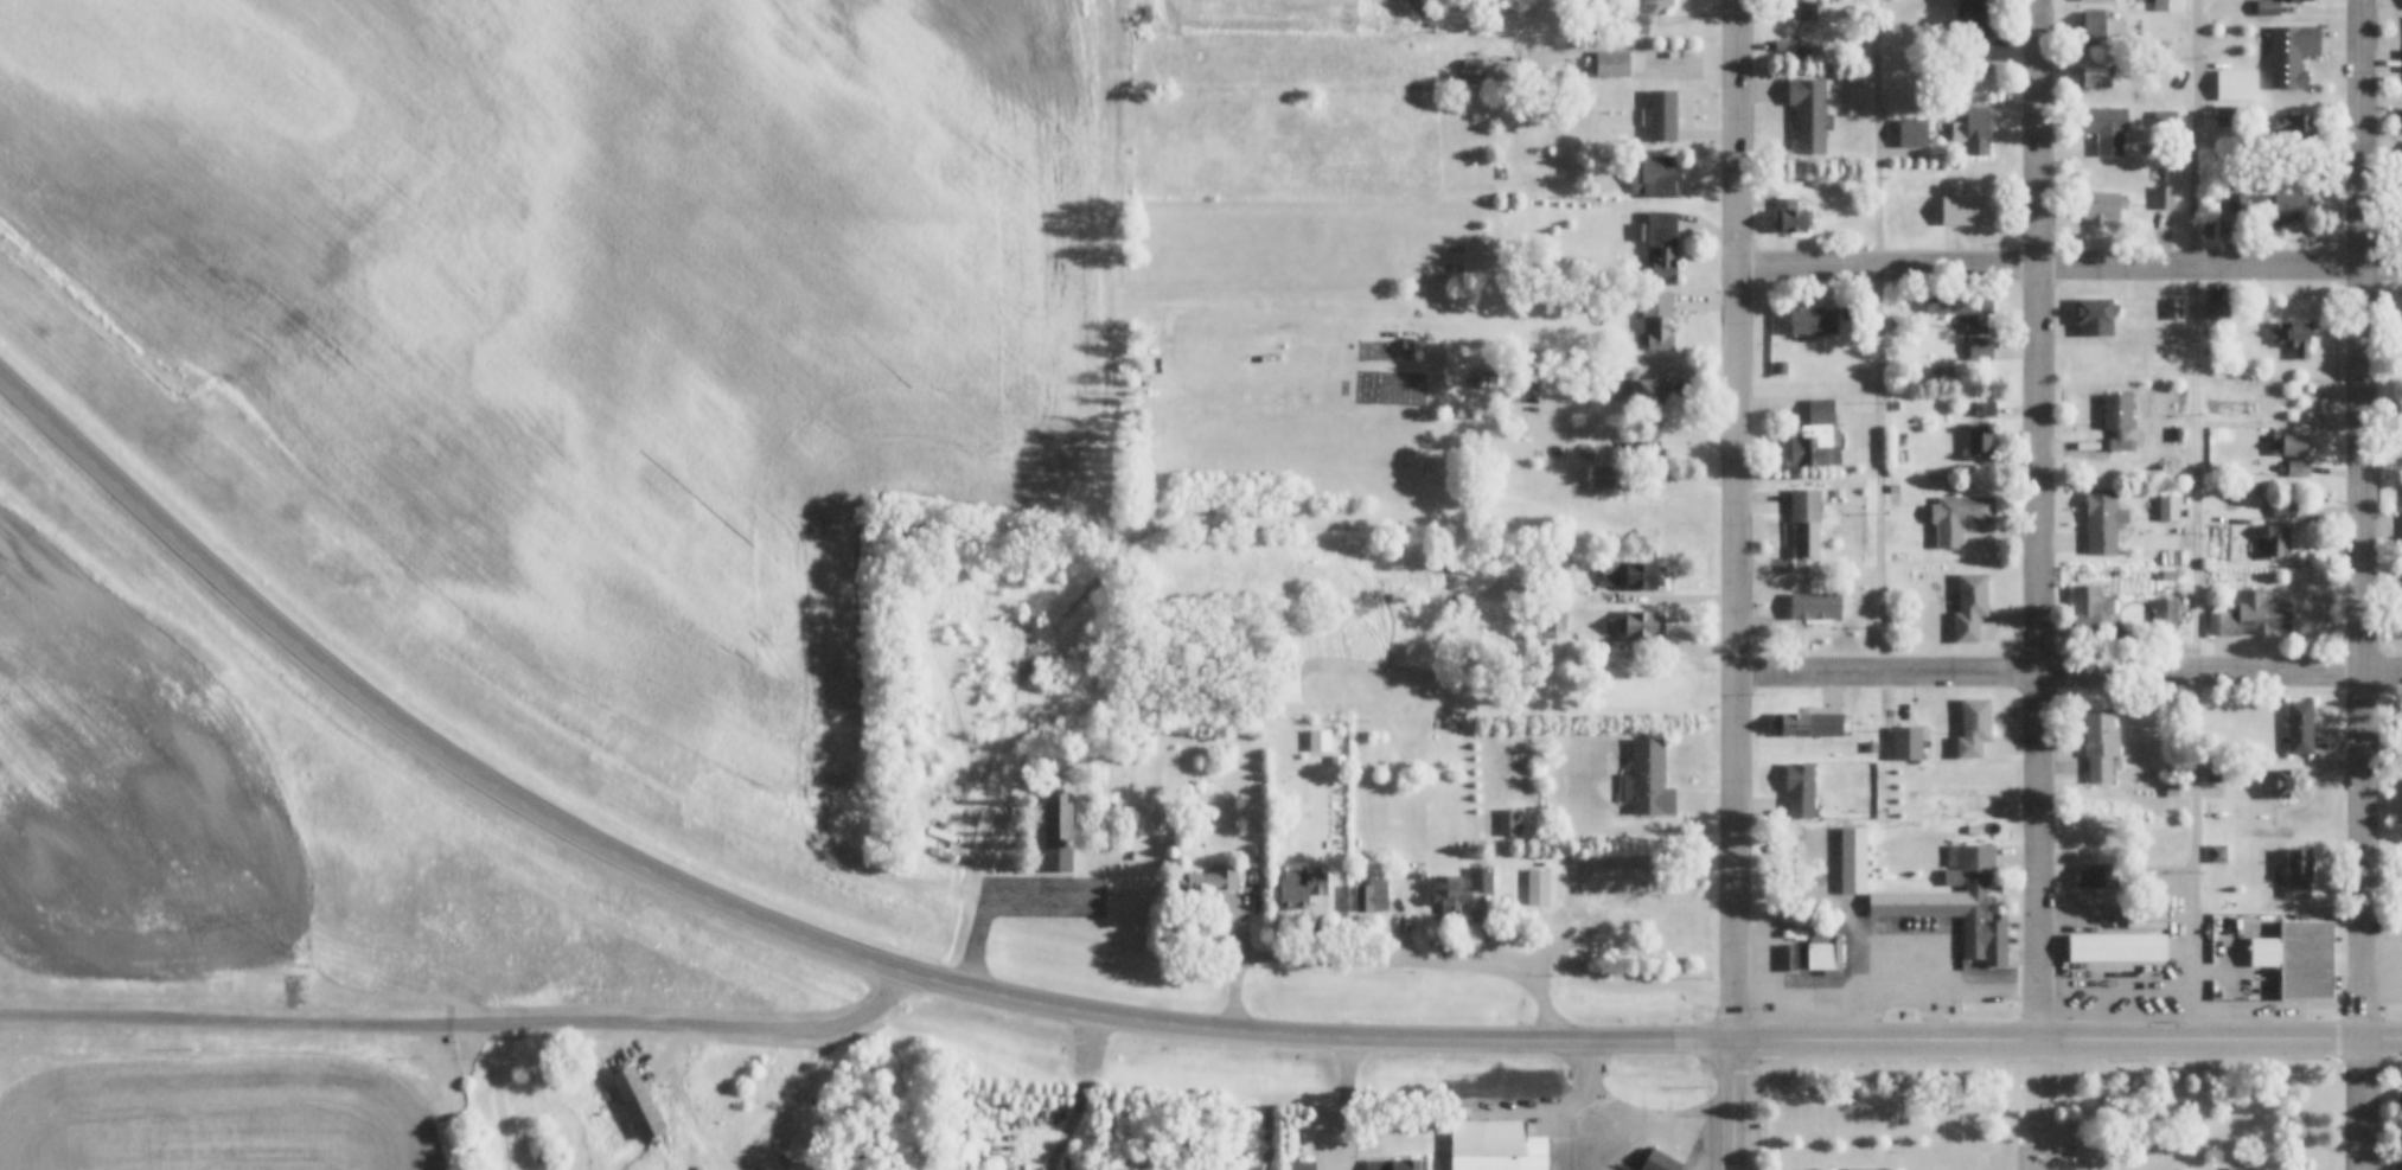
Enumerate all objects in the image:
building: (2098, 0)
building: (2296, 0)
building: (1660, 4)
building: (2168, 5)
building: (2268, 7)
building: (1806, 8)
building: (1637, 25)
building: (2098, 27)
building: (1970, 37)
building: (1784, 47)
building: (2292, 55)
building: (1612, 64)
building: (2096, 76)
building: (1467, 81)
building: (2243, 87)
building: (1809, 115)
building: (1662, 116)
building: (2165, 116)
building: (2225, 116)
building: (2294, 127)
building: (2106, 128)
building: (1978, 130)
building: (2211, 143)
building: (1654, 179)
building: (2164, 198)
building: (2237, 202)
building: (2102, 205)
building: (2283, 206)
building: (1967, 211)
building: (1789, 218)
building: (1662, 244)
road: (2072, 268)
building: (2173, 309)
building: (1963, 311)
building: (2217, 311)
building: (2095, 315)
building: (1657, 320)
building: (1814, 321)
building: (1898, 324)
building: (2294, 338)
building: (1980, 349)
building: (1780, 369)
building: (1620, 376)
road: (1879, 386)
building: (1648, 391)
building: (1893, 405)
building: (1983, 410)
building: (2117, 418)
building: (2177, 434)
building: (1816, 439)
building: (1980, 443)
building: (2289, 445)
building: (1643, 452)
building: (2298, 468)
building: (1602, 477)
building: (1893, 490)
building: (2168, 507)
building: (2285, 510)
road: (149, 512)
building: (1960, 518)
building: (2103, 519)
road: (2195, 519)
road: (1743, 520)
road: (2045, 520)
building: (2275, 543)
building: (2219, 550)
building: (1634, 575)
building: (2167, 575)
road: (2368, 584)
road: (1659, 601)
building: (1969, 607)
building: (2089, 610)
building: (2250, 616)
building: (1895, 618)
building: (2165, 618)
building: (1558, 619)
building: (1642, 626)
building: (1818, 629)
road: (2071, 672)
building: (1808, 727)
building: (1974, 729)
building: (2300, 729)
building: (2210, 742)
building: (1317, 743)
building: (1908, 746)
building: (2100, 747)
building: (1335, 763)
building: (2217, 773)
building: (1055, 774)
road: (478, 778)
building: (1649, 779)
building: (2282, 785)
building: (1801, 792)
building: (2171, 792)
building: (1962, 794)
building: (1510, 821)
building: (1058, 838)
building: (2217, 855)
building: (1129, 856)
building: (2401, 865)
building: (2299, 874)
building: (1419, 876)
building: (1481, 878)
building: (2096, 878)
building: (1208, 883)
building: (1538, 887)
building: (1622, 888)
building: (1302, 889)
building: (1449, 895)
road: (997, 897)
building: (1372, 897)
building: (1957, 904)
building: (2116, 948)
building: (1815, 952)
building: (2306, 961)
road: (1362, 963)
road: (879, 967)
road: (1551, 967)
road: (466, 1028)
road: (1750, 1041)
road: (2310, 1079)
road: (1090, 1093)
building: (637, 1101)
building: (2400, 1101)
road: (1735, 1105)
park: (2050, 1118)
road: (1629, 1123)
building: (1496, 1146)
building: (1660, 1161)
building: (1395, 1164)
building: (1299, 1165)
building: (2401, 1165)
building: (2238, 1168)

